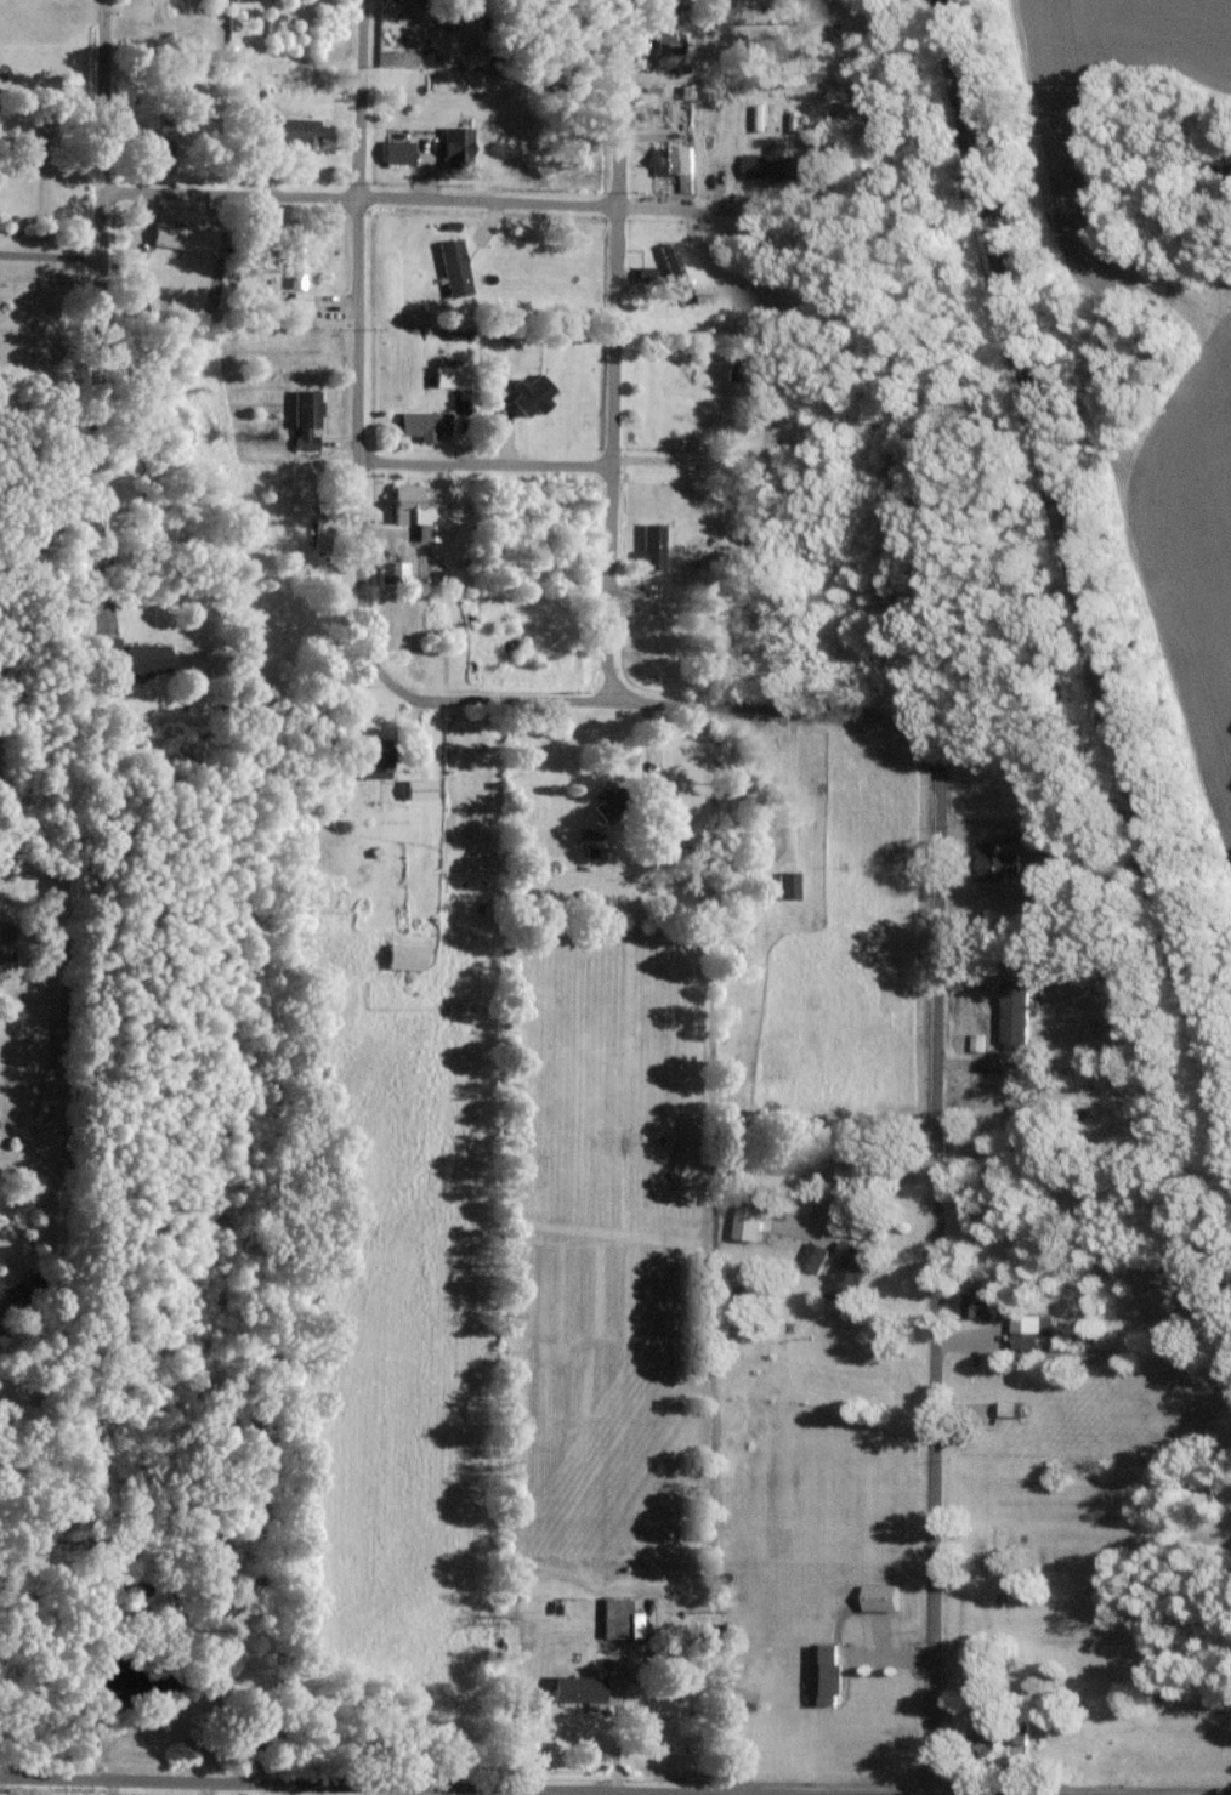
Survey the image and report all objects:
building: (663, 30)
building: (759, 115)
building: (291, 132)
building: (452, 141)
building: (147, 146)
building: (393, 150)
building: (671, 158)
building: (768, 161)
road: (396, 198)
building: (176, 235)
road: (50, 255)
building: (296, 255)
building: (450, 265)
building: (673, 272)
road: (98, 301)
building: (297, 301)
road: (361, 345)
road: (612, 348)
building: (448, 374)
building: (528, 393)
building: (302, 417)
building: (421, 424)
road: (486, 464)
building: (409, 510)
building: (649, 545)
railway: (1073, 557)
road: (97, 561)
building: (392, 568)
building: (103, 648)
building: (141, 657)
road: (657, 703)
building: (373, 757)
building: (415, 788)
building: (991, 860)
building: (785, 884)
building: (401, 955)
building: (1012, 1010)
road: (851, 1188)
building: (745, 1221)
road: (2, 1248)
building: (812, 1255)
road: (938, 1261)
building: (845, 1271)
building: (975, 1303)
building: (1027, 1329)
building: (1005, 1408)
building: (215, 1552)
building: (877, 1596)
building: (618, 1619)
building: (822, 1675)
building: (572, 1688)
building: (1016, 1733)
building: (981, 1737)
road: (418, 1784)

